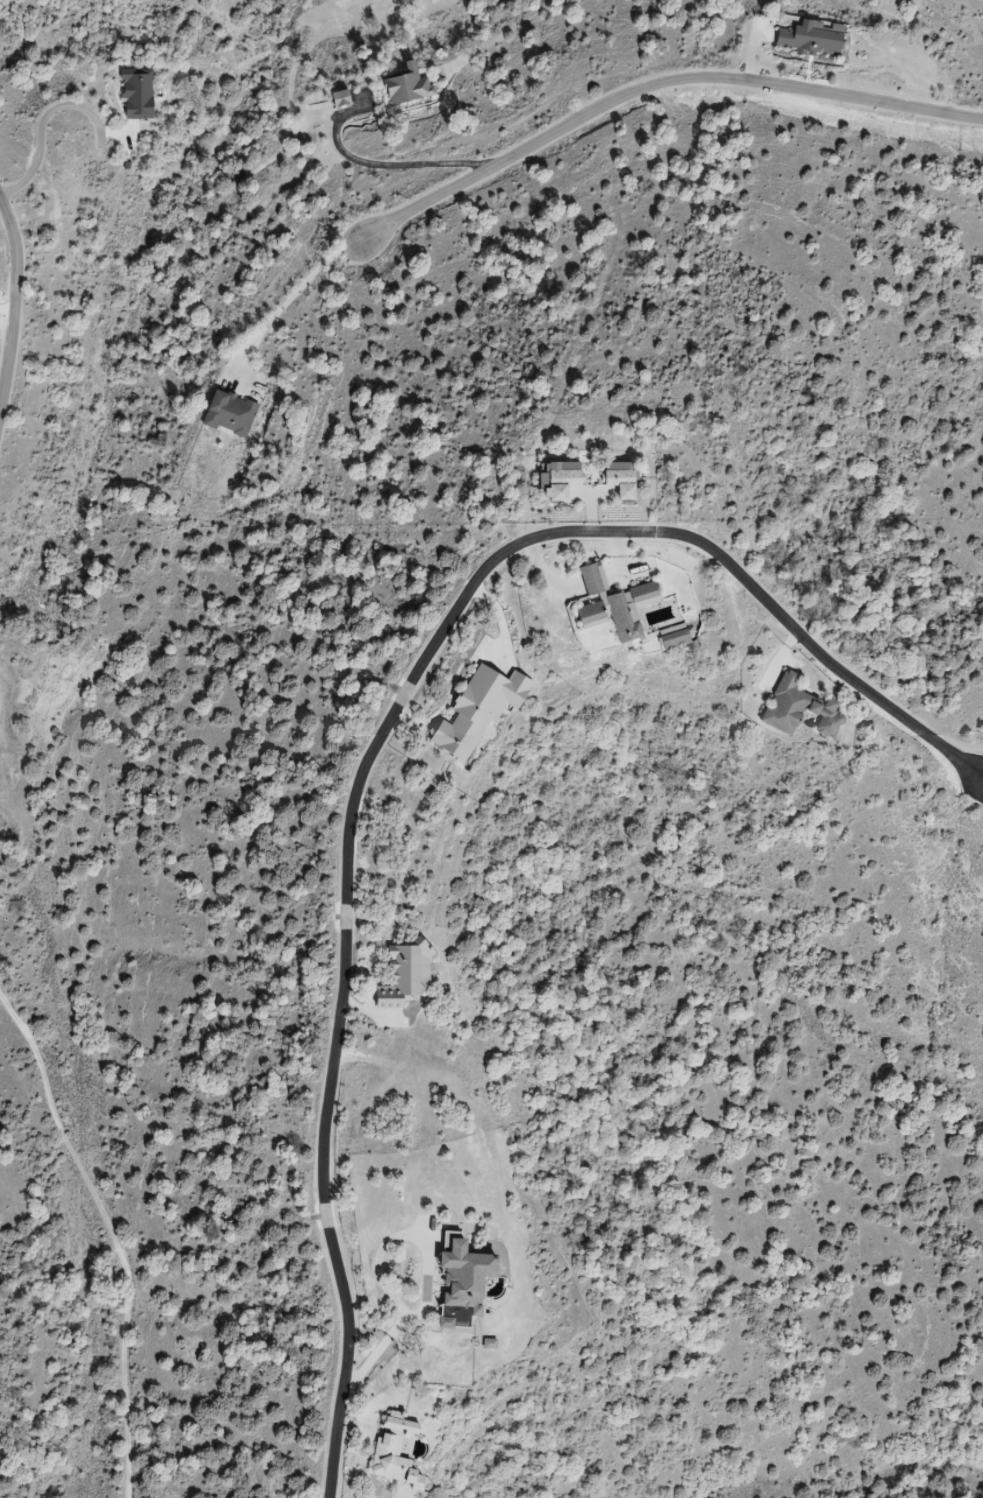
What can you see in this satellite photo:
building: (813, 39)
building: (409, 87)
road: (641, 94)
building: (141, 95)
building: (342, 99)
road: (41, 129)
road: (406, 164)
road: (11, 310)
road: (275, 313)
building: (231, 414)
building: (595, 579)
building: (621, 611)
building: (677, 637)
building: (801, 708)
building: (481, 710)
road: (393, 736)
building: (407, 975)
road: (431, 1270)
building: (464, 1282)
building: (398, 1451)
road: (411, 1497)

